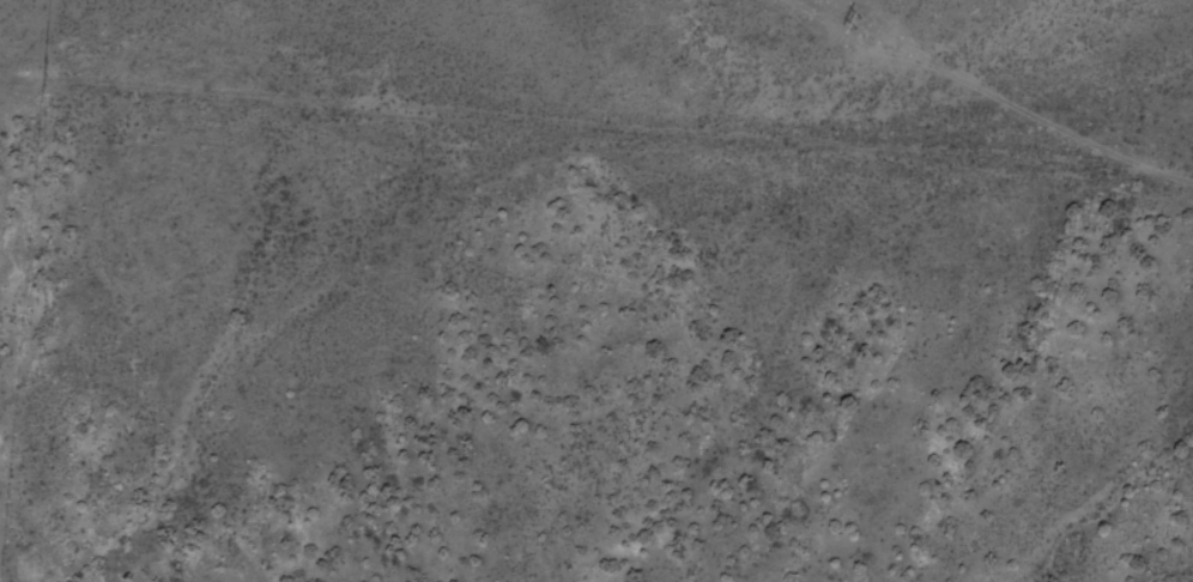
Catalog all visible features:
road: (598, 180)

